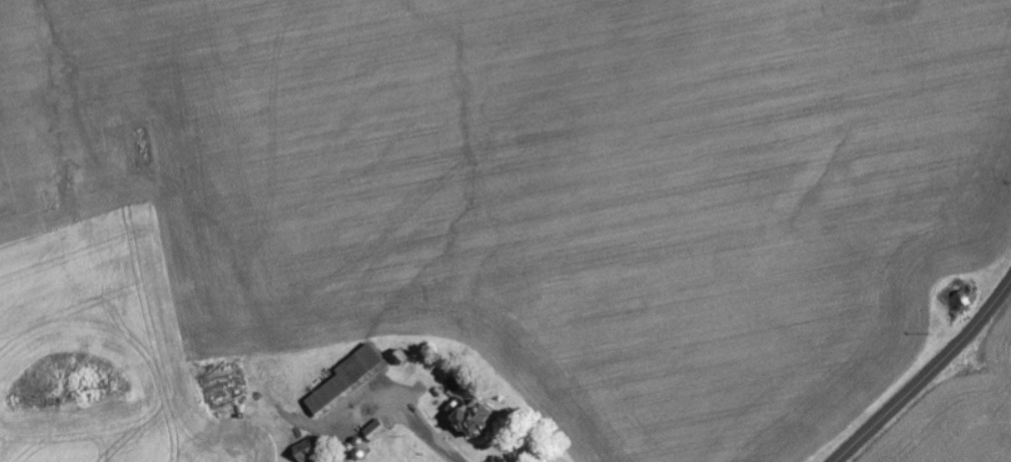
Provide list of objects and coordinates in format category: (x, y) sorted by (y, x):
road: (219, 362)
road: (928, 374)

